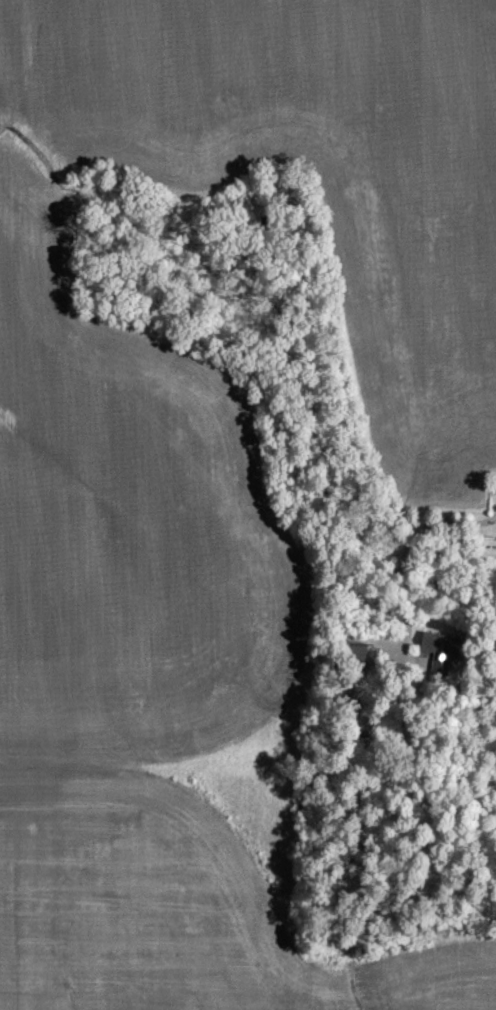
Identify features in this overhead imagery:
building: (440, 646)

